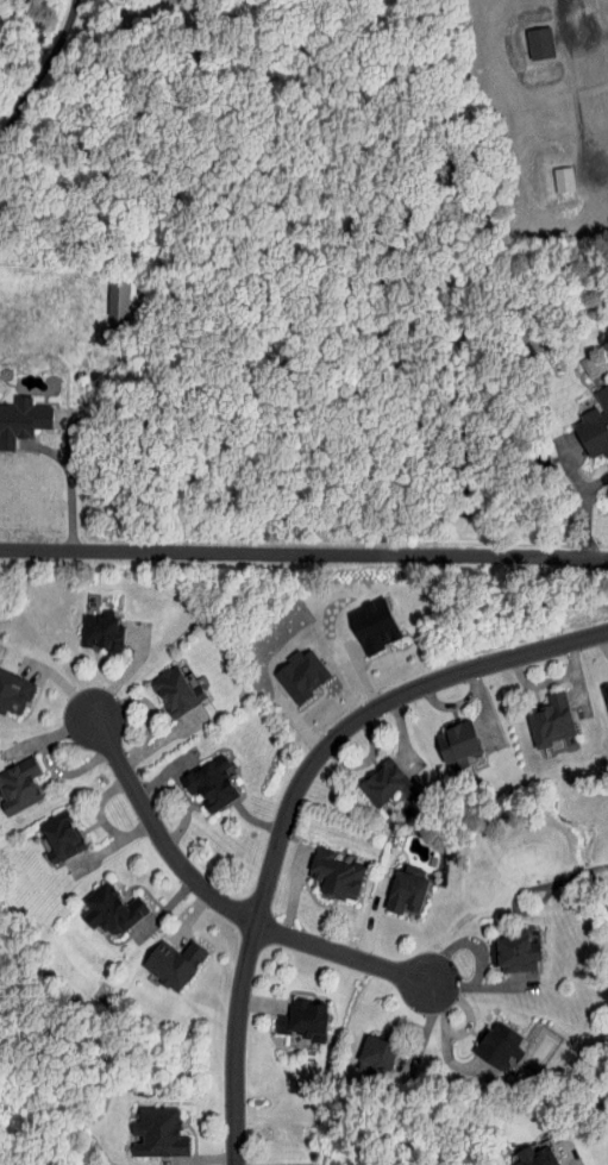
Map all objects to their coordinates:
building: (524, 36)
road: (40, 76)
building: (546, 173)
building: (13, 411)
building: (584, 416)
road: (70, 470)
road: (583, 511)
road: (303, 549)
building: (357, 619)
building: (83, 624)
building: (283, 668)
building: (156, 687)
building: (5, 688)
building: (597, 691)
building: (532, 714)
building: (438, 734)
building: (209, 783)
building: (382, 783)
building: (18, 785)
road: (287, 795)
road: (159, 832)
building: (59, 835)
park: (541, 869)
building: (334, 876)
building: (403, 894)
building: (109, 909)
building: (512, 952)
road: (343, 953)
building: (173, 963)
building: (302, 1020)
building: (495, 1045)
building: (375, 1054)
building: (157, 1130)
building: (532, 1158)

